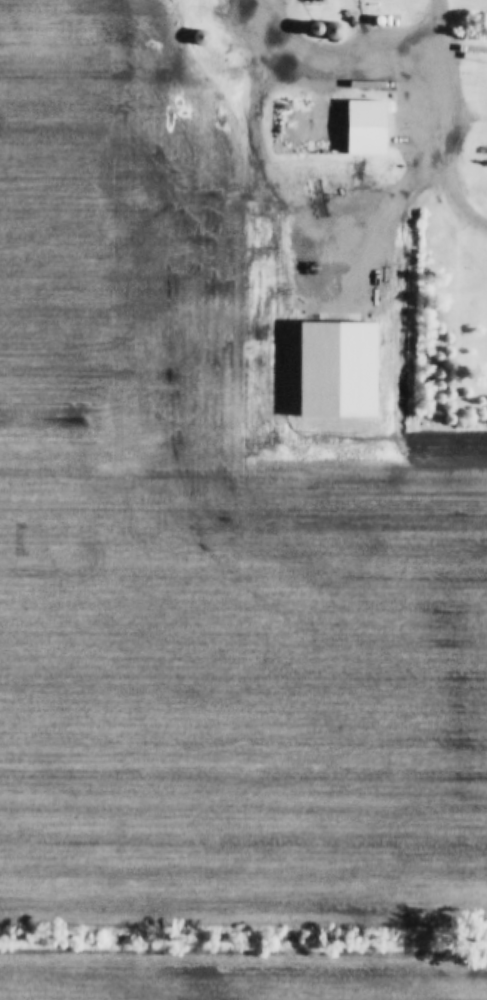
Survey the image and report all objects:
building: (380, 20)
storage tank: (380, 20)
building: (318, 27)
silo: (318, 27)
building: (337, 28)
silo: (337, 28)
building: (204, 38)
silo: (204, 38)
building: (209, 53)
silo: (209, 53)
building: (399, 63)
storage tank: (399, 63)
building: (254, 64)
silo: (254, 64)
building: (221, 66)
silo: (221, 66)
building: (237, 68)
silo: (237, 68)
building: (328, 127)
road: (391, 130)
crop: (219, 558)

